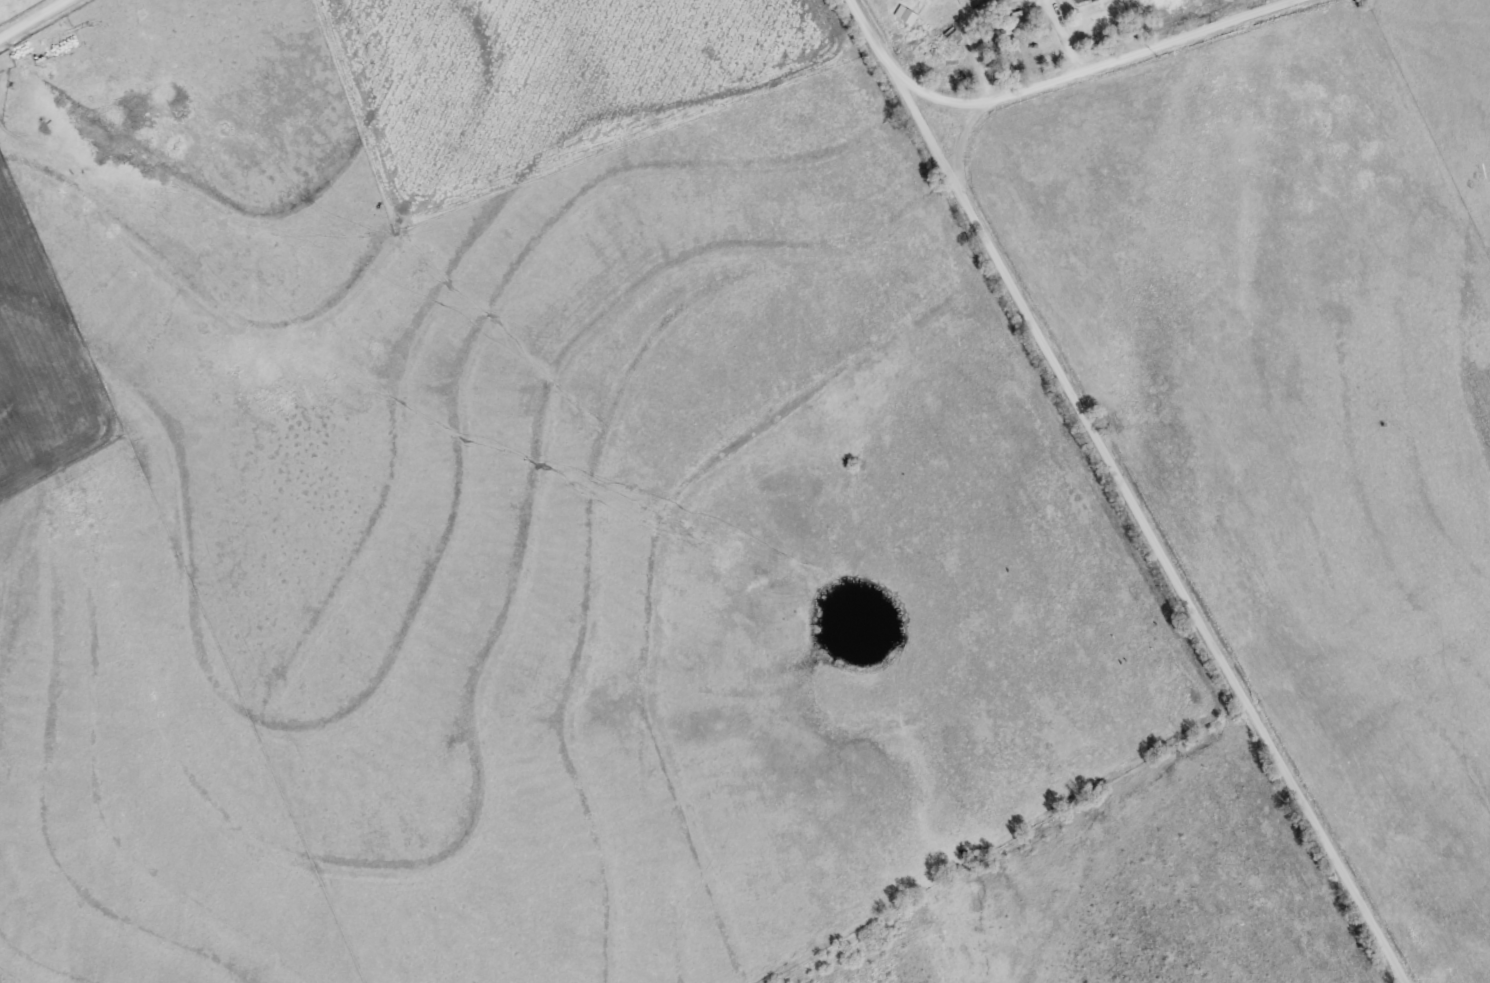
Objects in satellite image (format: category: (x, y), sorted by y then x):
building: (1080, 1)
building: (906, 14)
road: (30, 17)
road: (874, 34)
road: (1095, 64)
road: (925, 126)
road: (1159, 541)

